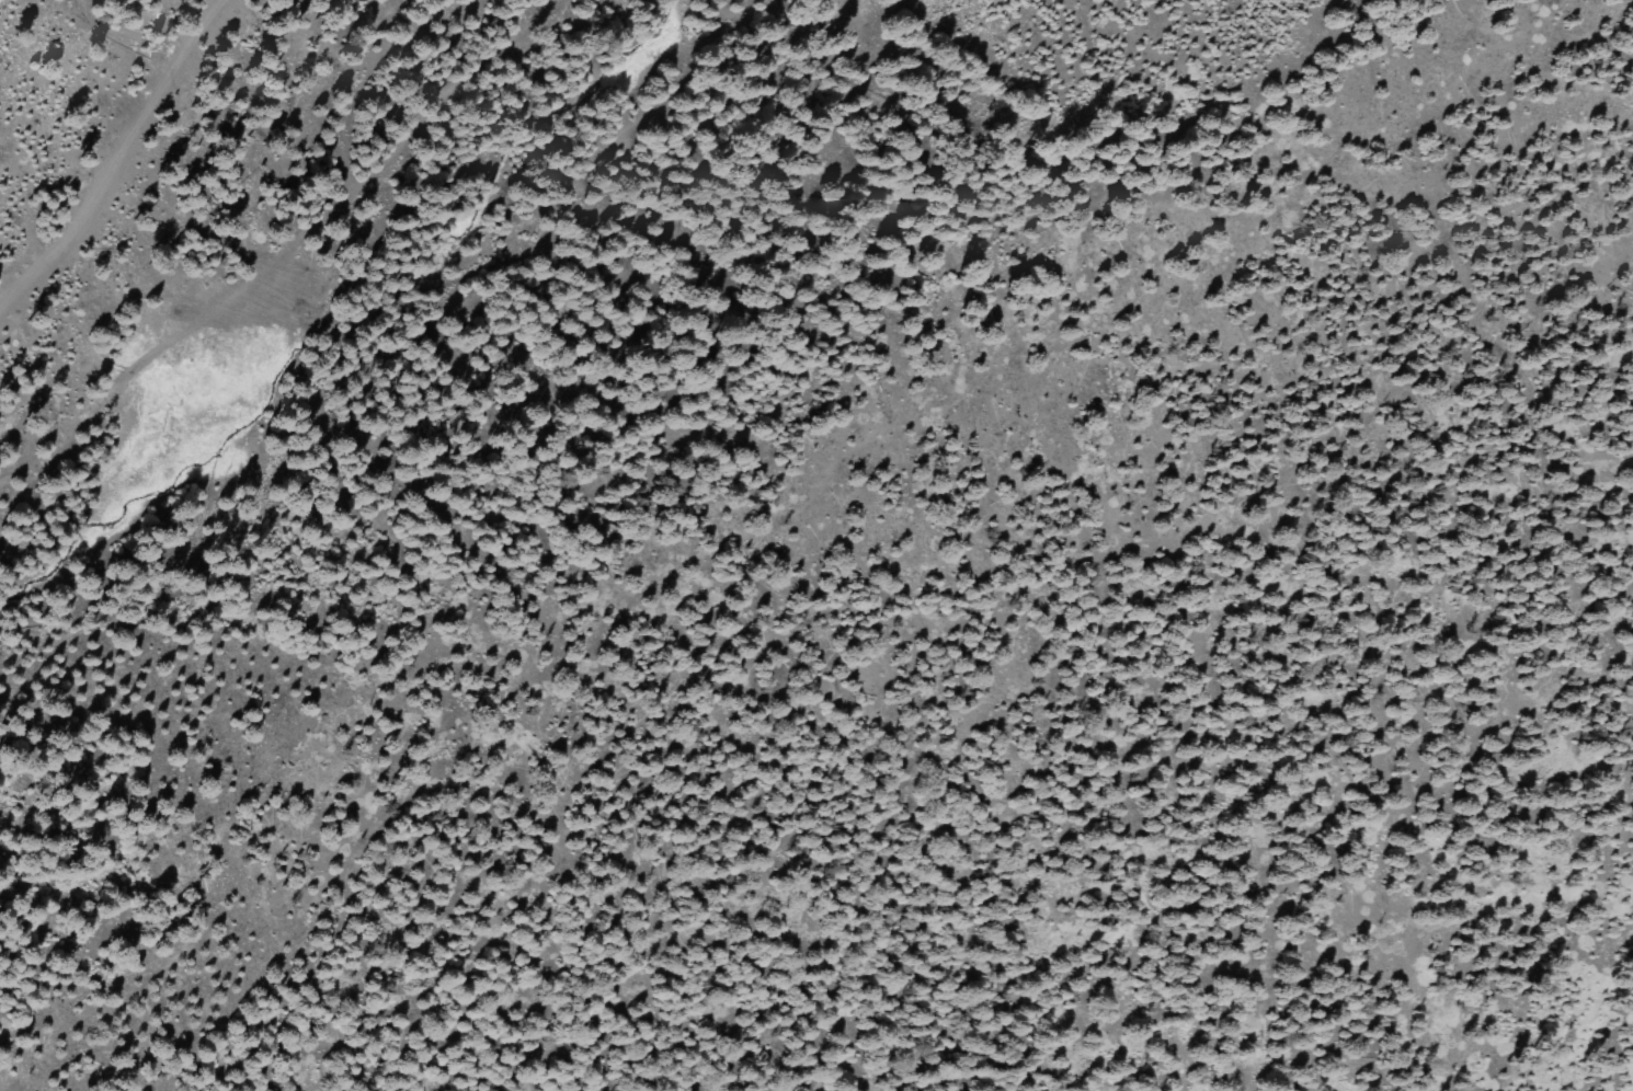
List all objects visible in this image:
road: (275, 261)

